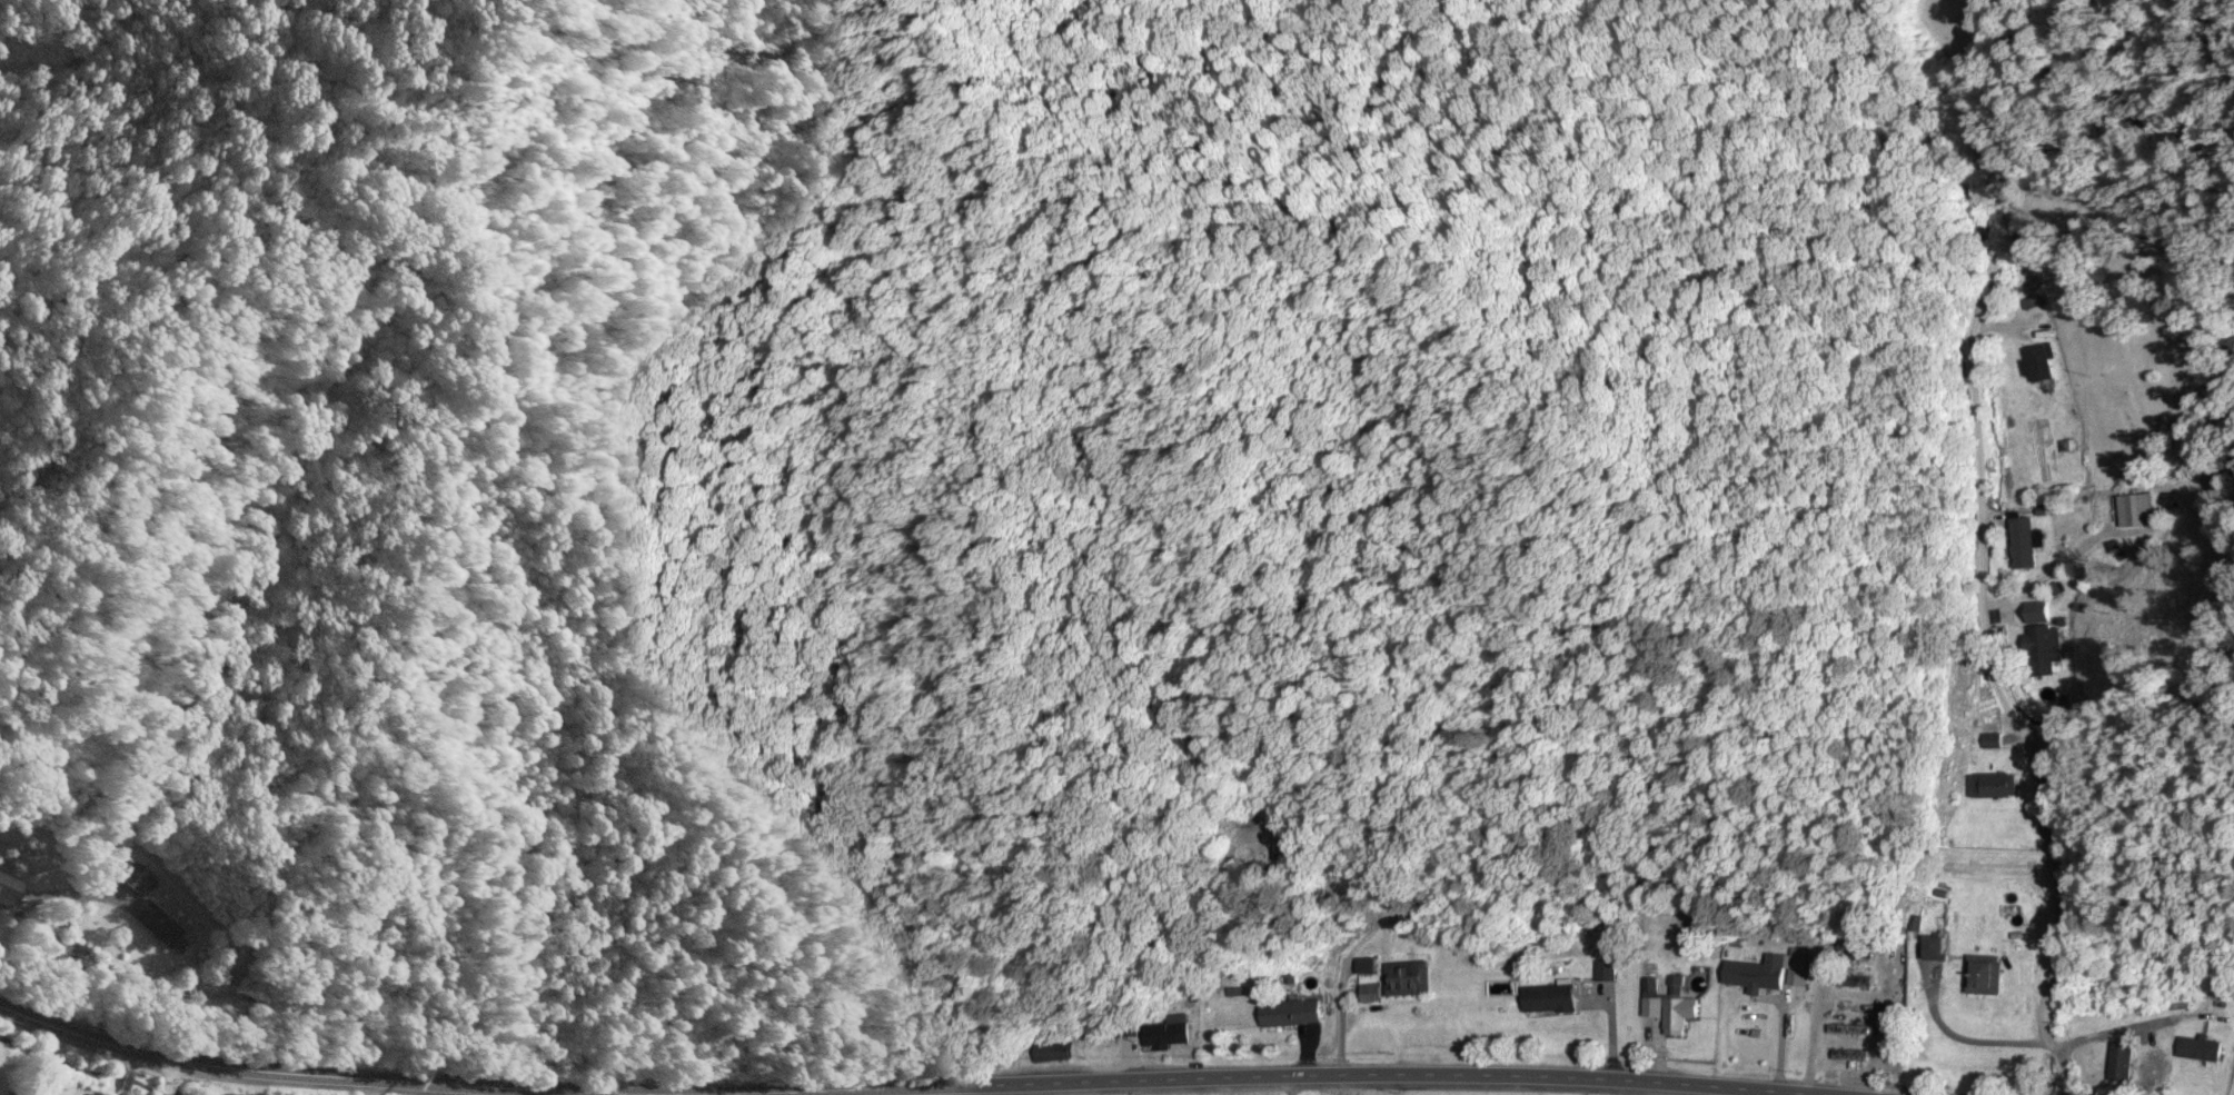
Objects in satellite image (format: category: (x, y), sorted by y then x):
building: (2183, 449)
building: (2201, 500)
building: (2134, 509)
road: (1980, 542)
building: (2024, 542)
building: (1989, 787)
building: (136, 883)
building: (2, 892)
building: (153, 925)
building: (1816, 958)
building: (1780, 965)
building: (1983, 976)
building: (1406, 978)
building: (1739, 979)
building: (1853, 984)
building: (1547, 999)
building: (1288, 1014)
building: (1677, 1016)
building: (1848, 1031)
building: (1164, 1036)
building: (2198, 1051)
building: (1050, 1054)
building: (1849, 1056)
building: (2121, 1063)
road: (252, 1071)
road: (161, 1079)
road: (1294, 1079)

